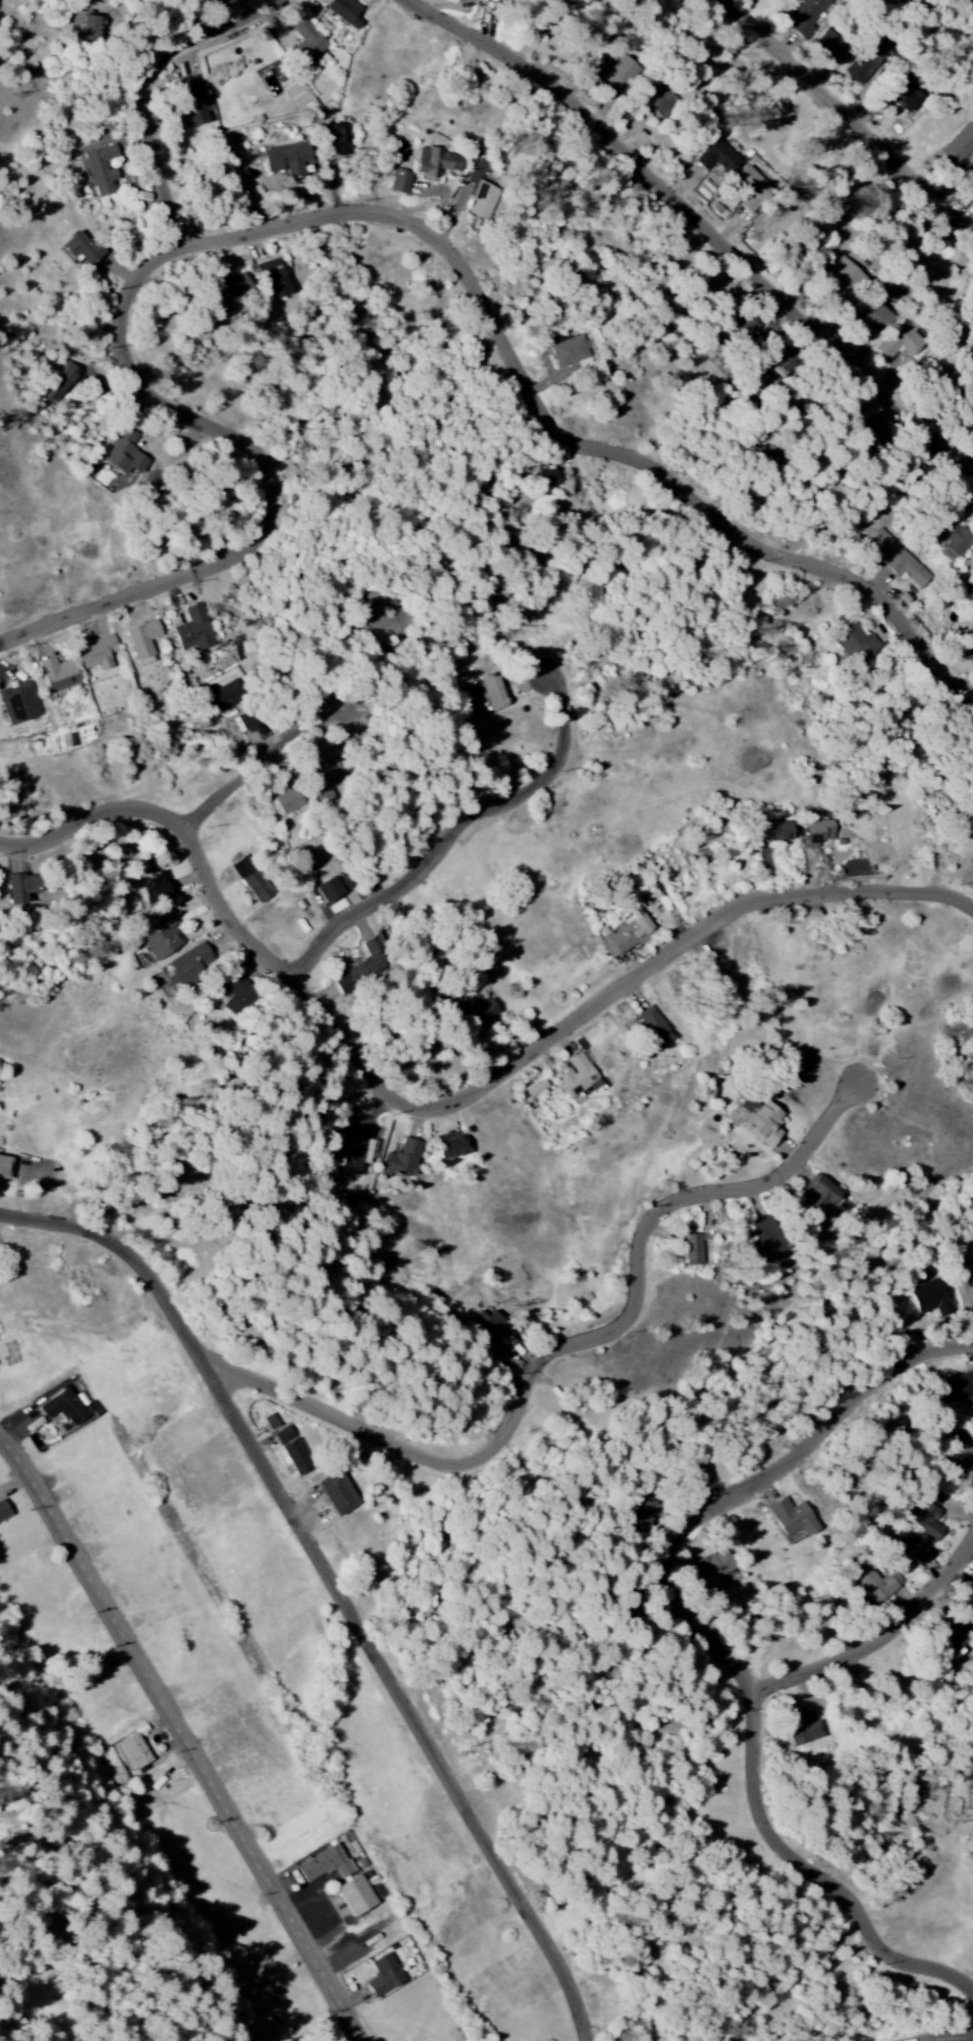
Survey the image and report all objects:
building: (473, 0)
building: (500, 0)
building: (346, 11)
building: (807, 15)
building: (92, 29)
building: (307, 42)
building: (832, 48)
building: (860, 67)
building: (619, 74)
road: (151, 89)
building: (906, 98)
building: (192, 102)
road: (847, 117)
building: (335, 141)
building: (960, 145)
building: (718, 158)
building: (287, 160)
building: (437, 163)
building: (99, 170)
building: (399, 182)
building: (754, 190)
road: (335, 216)
road: (703, 222)
building: (83, 249)
building: (274, 279)
building: (844, 281)
building: (233, 291)
building: (878, 320)
building: (899, 342)
building: (569, 352)
building: (61, 382)
building: (124, 452)
building: (547, 475)
building: (954, 537)
building: (897, 560)
building: (194, 629)
building: (143, 641)
building: (855, 645)
building: (97, 653)
building: (57, 675)
building: (494, 692)
building: (223, 695)
building: (19, 704)
building: (471, 710)
building: (249, 721)
building: (70, 740)
road: (271, 755)
building: (328, 774)
building: (288, 799)
road: (183, 821)
road: (460, 828)
building: (775, 831)
building: (819, 832)
road: (198, 836)
building: (251, 880)
building: (23, 888)
building: (334, 888)
building: (157, 889)
building: (631, 931)
building: (160, 936)
building: (187, 967)
building: (362, 968)
road: (291, 970)
road: (303, 983)
building: (237, 996)
building: (481, 1011)
building: (655, 1027)
building: (577, 1078)
road: (446, 1108)
building: (762, 1119)
building: (451, 1145)
building: (355, 1153)
building: (403, 1159)
building: (5, 1167)
building: (821, 1195)
building: (769, 1241)
building: (690, 1251)
building: (929, 1298)
building: (964, 1299)
building: (489, 1326)
road: (554, 1354)
building: (954, 1388)
building: (67, 1408)
building: (284, 1435)
building: (957, 1454)
building: (297, 1458)
building: (339, 1494)
building: (4, 1512)
building: (646, 1513)
building: (794, 1519)
building: (926, 1522)
building: (912, 1550)
building: (715, 1568)
road: (335, 1582)
building: (971, 1586)
building: (878, 1587)
building: (967, 1603)
building: (954, 1636)
road: (885, 1641)
road: (714, 1644)
building: (802, 1729)
road: (185, 1737)
building: (133, 1753)
building: (969, 1799)
building: (321, 1862)
building: (344, 1869)
building: (361, 1894)
building: (384, 1976)

